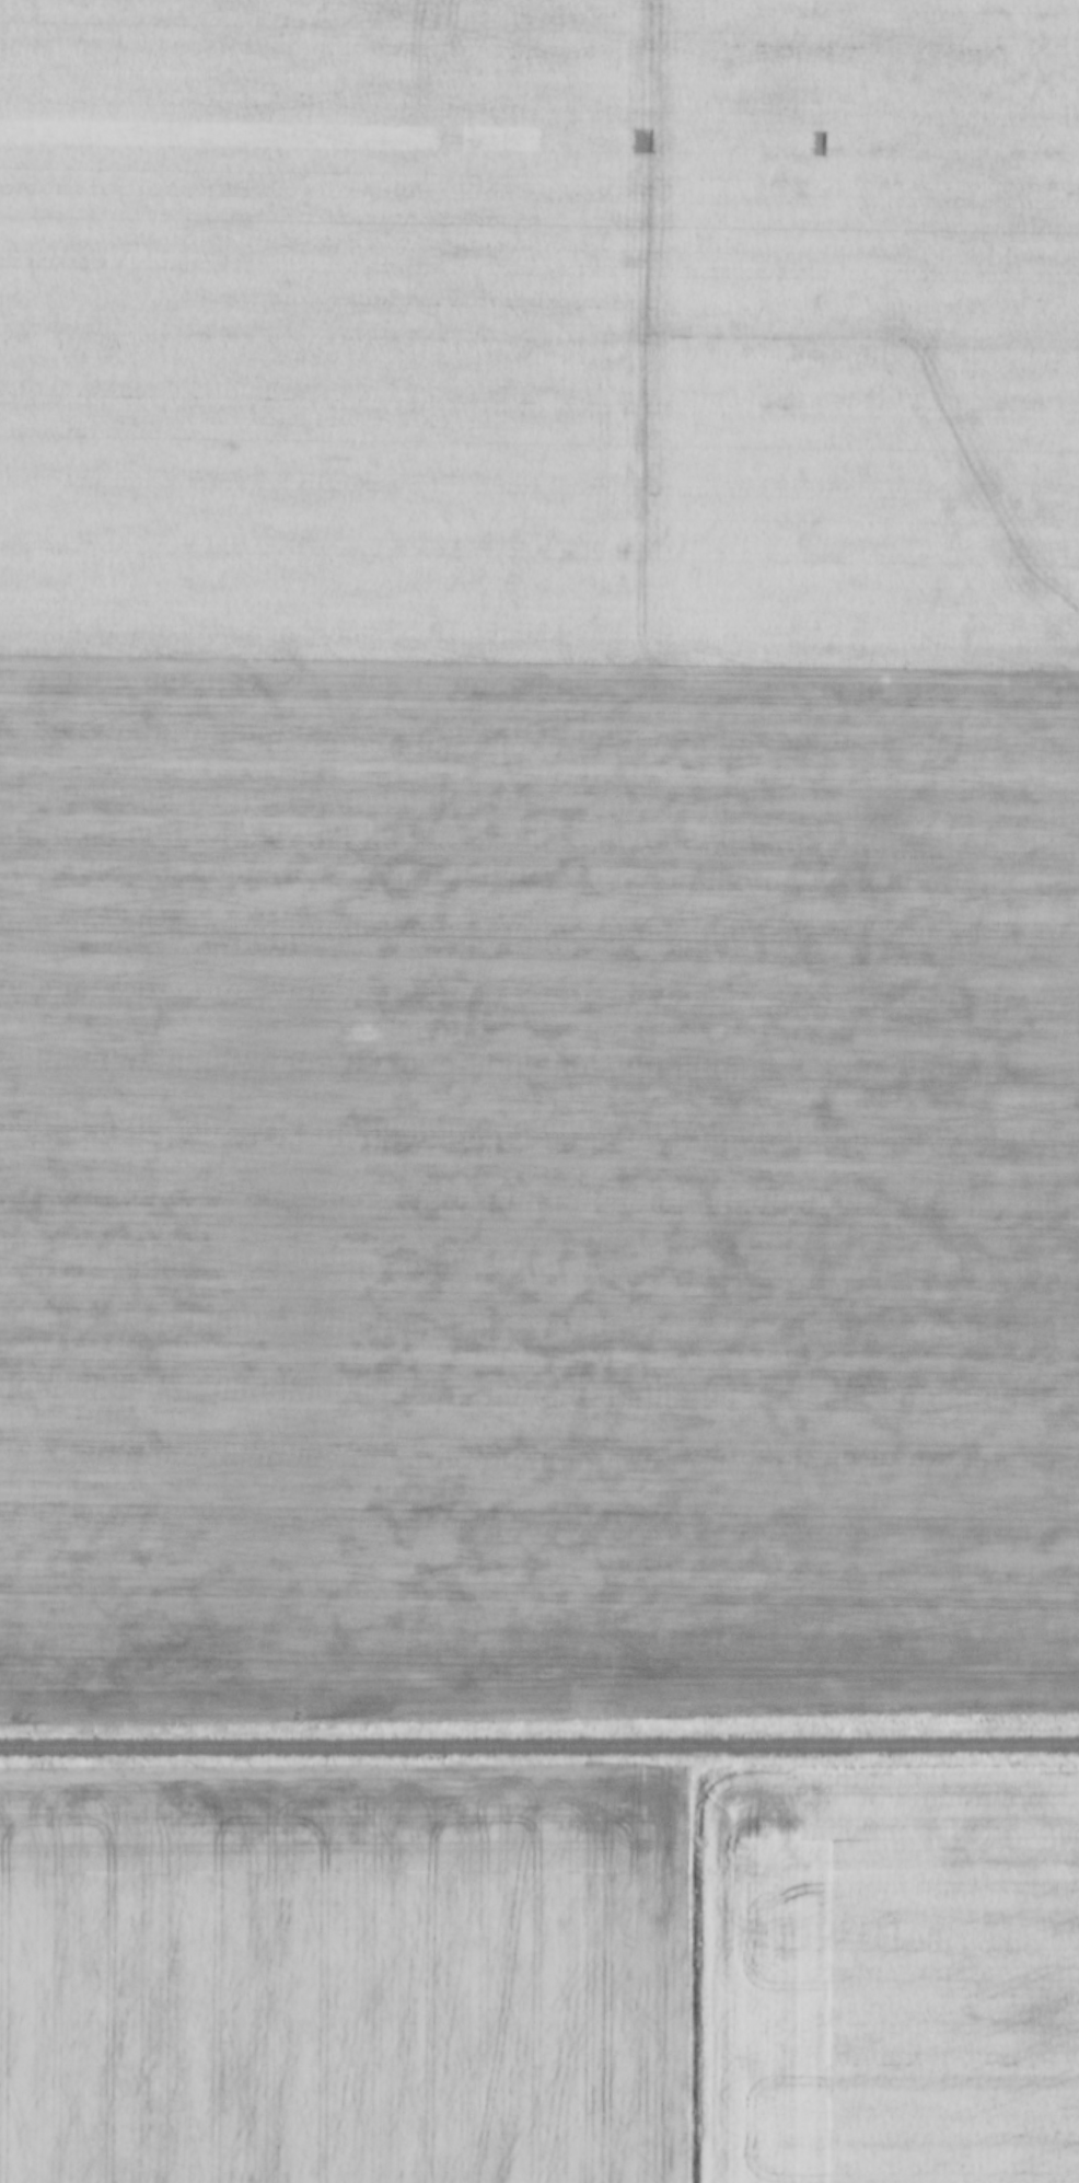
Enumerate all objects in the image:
railway: (539, 1746)

